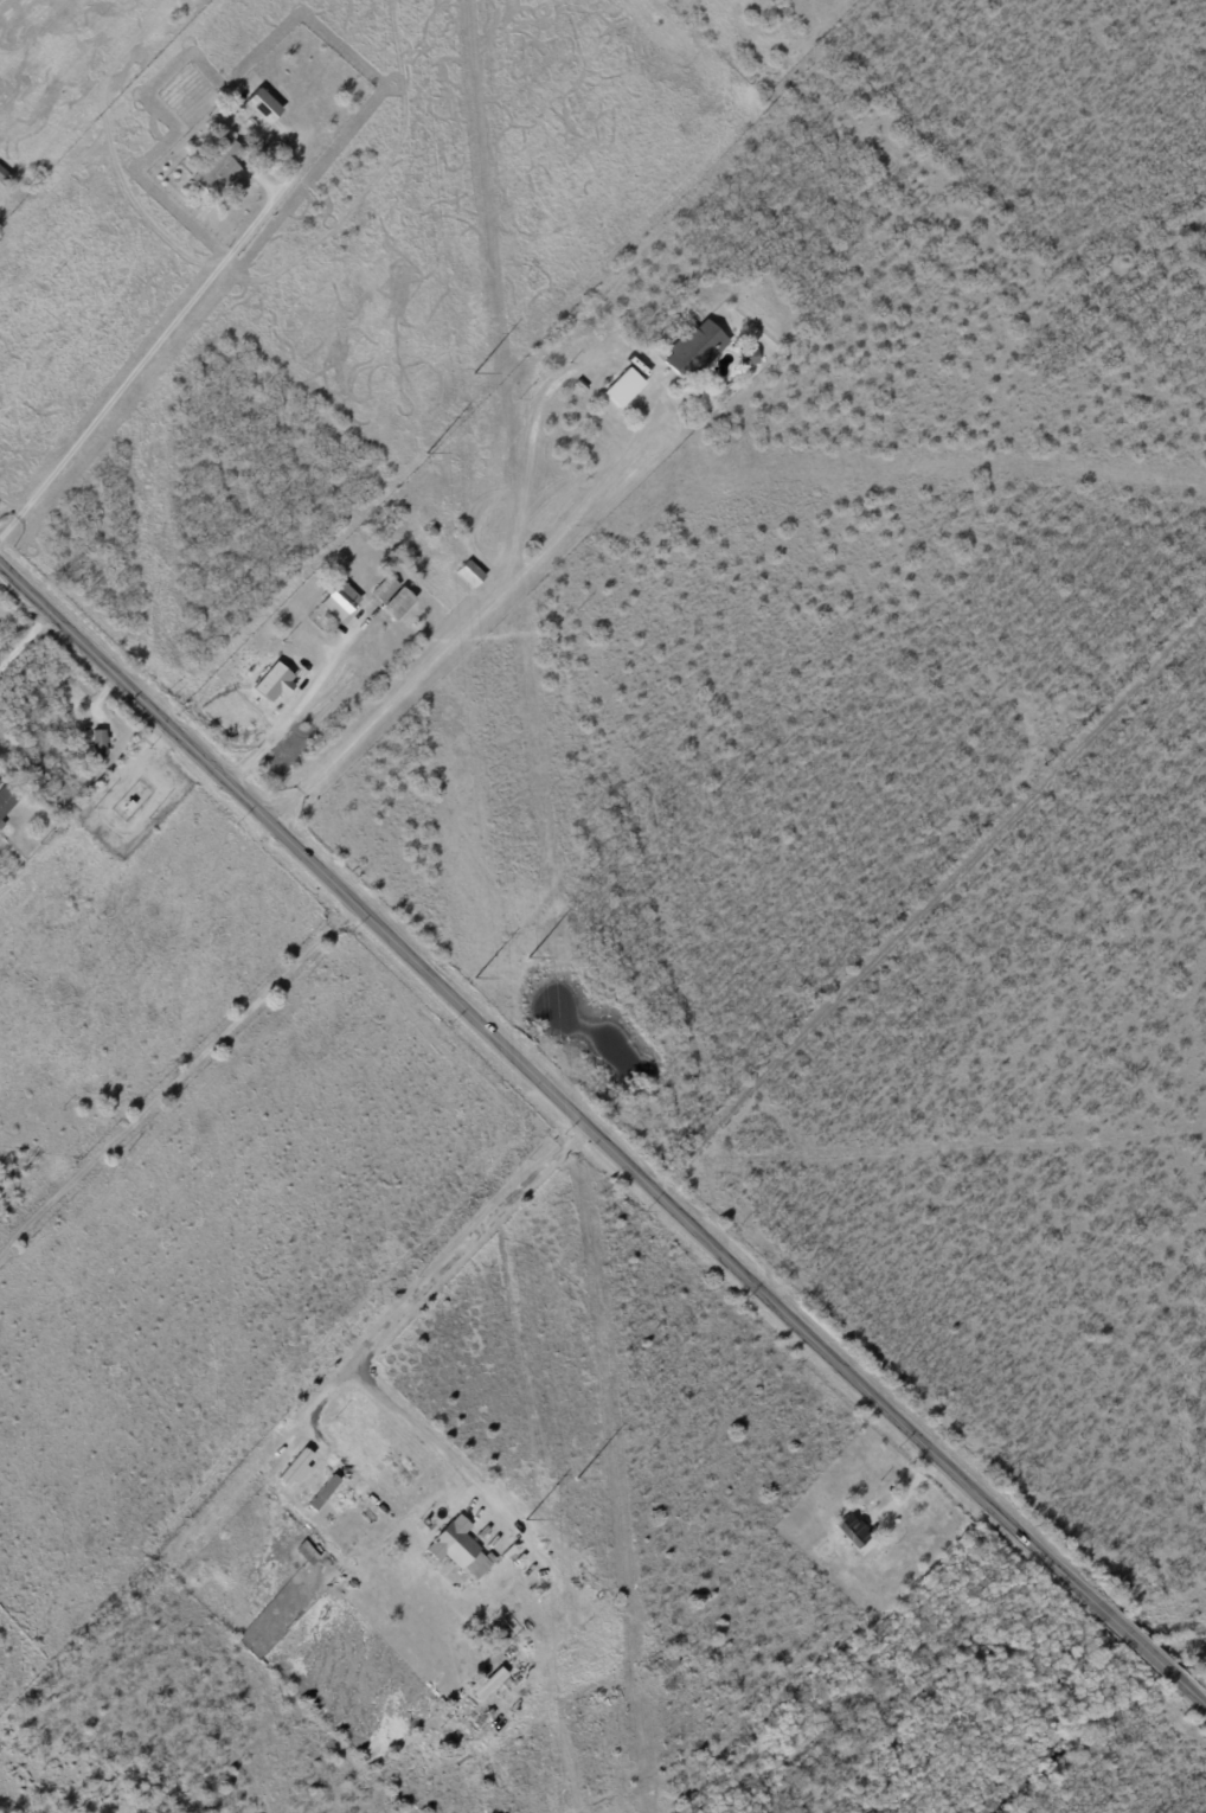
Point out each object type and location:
building: (267, 105)
building: (252, 120)
building: (220, 169)
building: (5, 177)
building: (697, 350)
building: (750, 355)
road: (139, 365)
building: (583, 385)
building: (627, 387)
building: (549, 493)
building: (474, 505)
building: (435, 531)
building: (752, 538)
building: (472, 575)
building: (387, 589)
building: (342, 602)
building: (402, 604)
road: (461, 629)
road: (24, 639)
building: (72, 680)
building: (274, 683)
road: (296, 710)
building: (88, 729)
building: (100, 744)
building: (110, 790)
building: (6, 805)
building: (130, 805)
road: (551, 1095)
road: (468, 1250)
road: (334, 1459)
building: (295, 1468)
road: (509, 1523)
building: (858, 1538)
building: (456, 1543)
road: (1141, 1646)
building: (483, 1691)
road: (1189, 1692)

